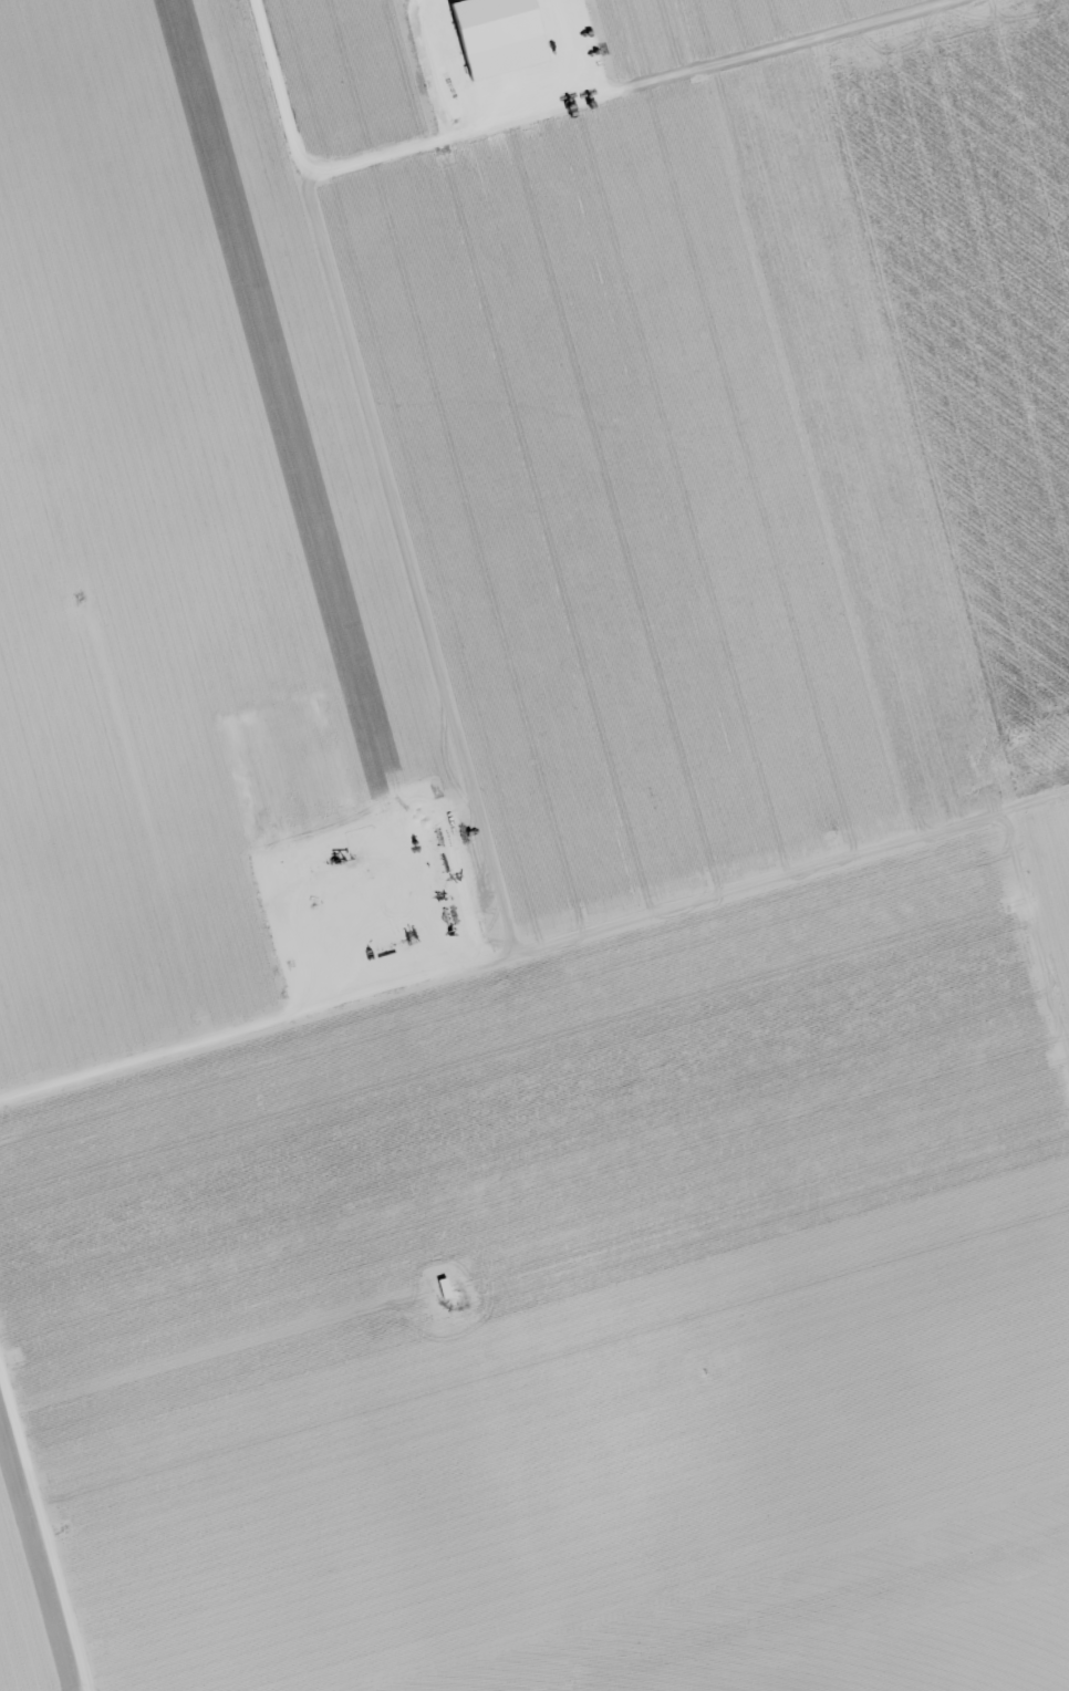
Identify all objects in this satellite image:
building: (495, 34)
road: (486, 859)
road: (563, 1186)

